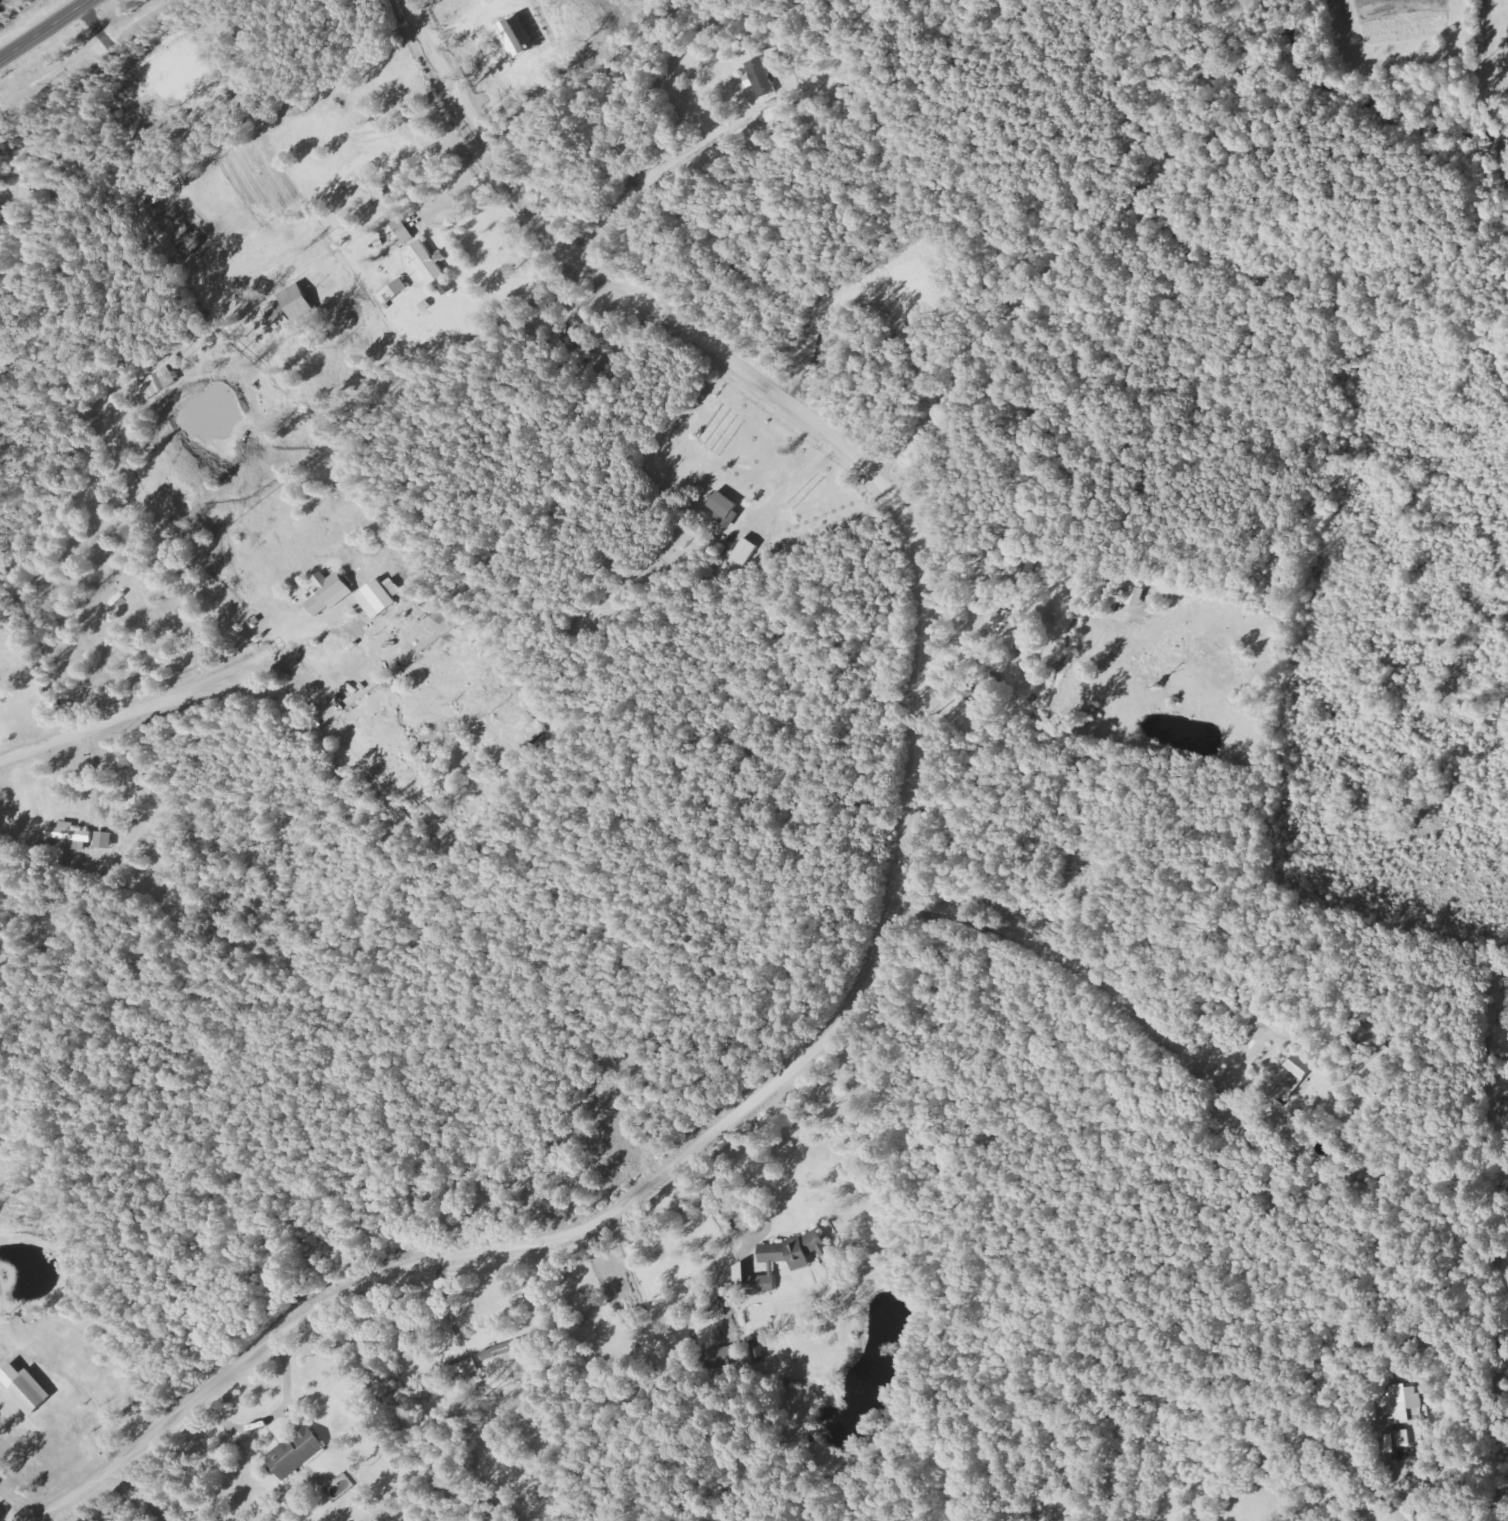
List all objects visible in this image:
road: (44, 29)
building: (513, 34)
building: (757, 77)
building: (769, 119)
building: (428, 262)
building: (393, 292)
building: (279, 319)
building: (158, 382)
building: (722, 504)
building: (743, 552)
building: (329, 592)
building: (379, 596)
building: (1132, 596)
building: (1004, 628)
road: (140, 704)
building: (70, 835)
building: (103, 840)
road: (826, 885)
building: (1371, 1059)
building: (1289, 1076)
building: (782, 1260)
building: (503, 1351)
building: (757, 1351)
building: (720, 1358)
building: (24, 1387)
building: (1403, 1404)
building: (1397, 1440)
building: (296, 1452)
road: (1402, 1472)
building: (288, 1503)
road: (4, 1505)

